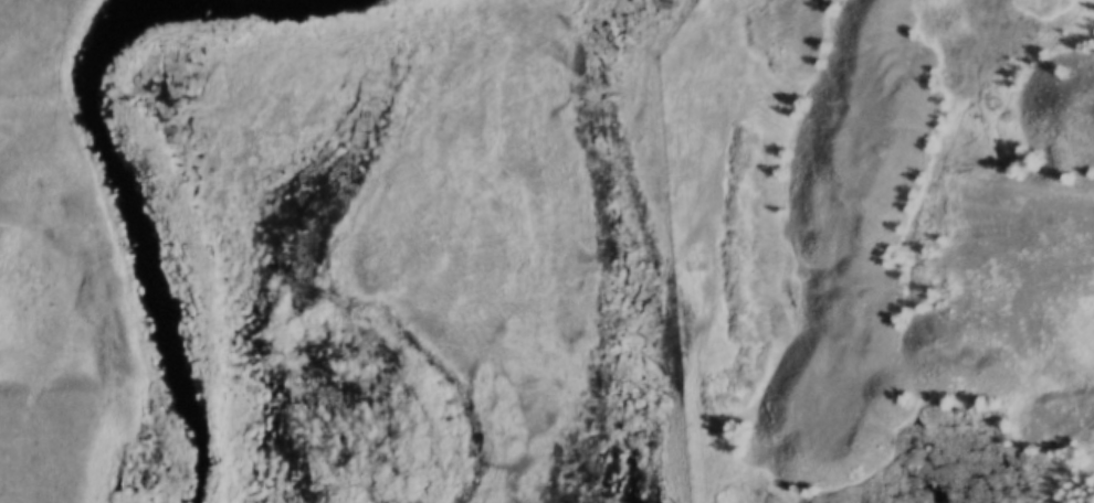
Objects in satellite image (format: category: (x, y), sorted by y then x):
quarry: (881, 248)

